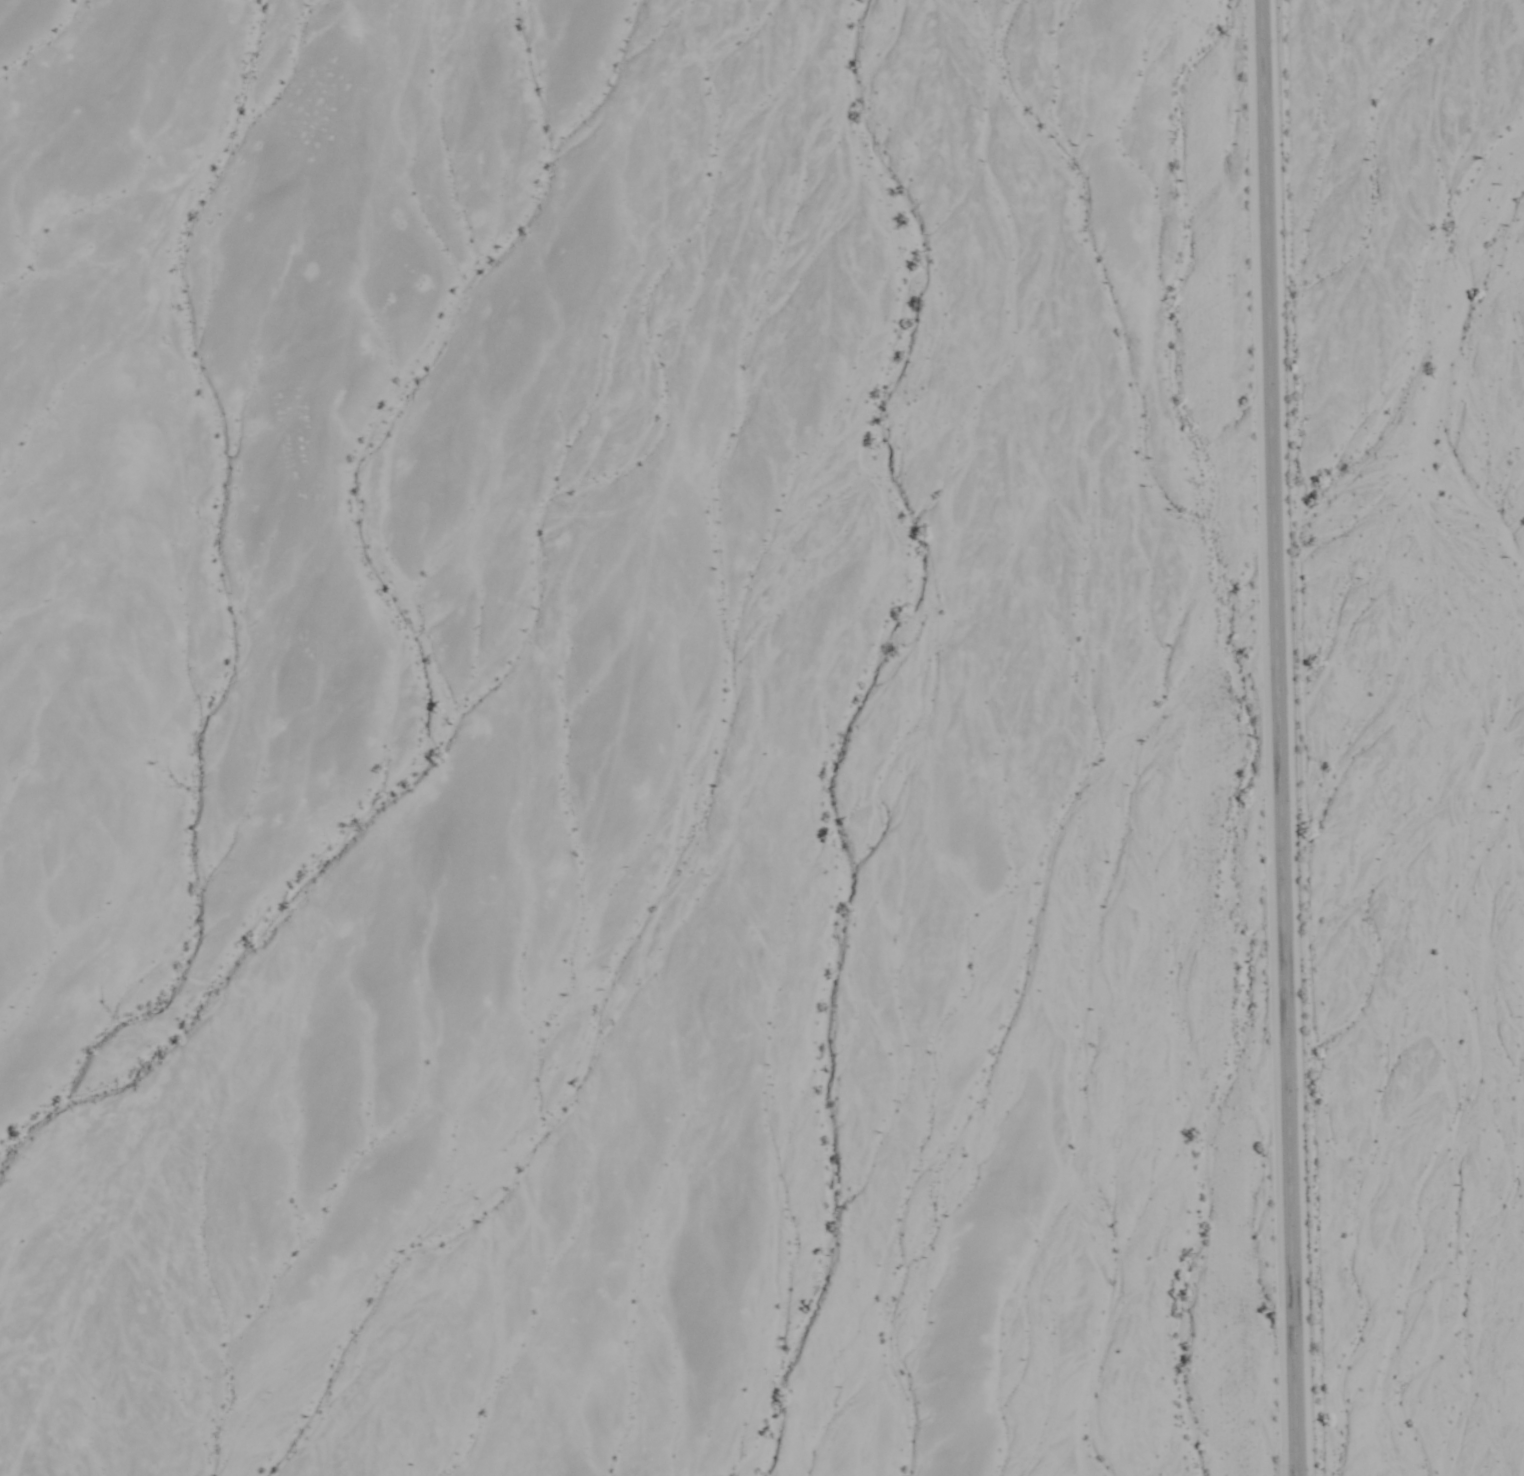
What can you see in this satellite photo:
road: (1280, 738)

